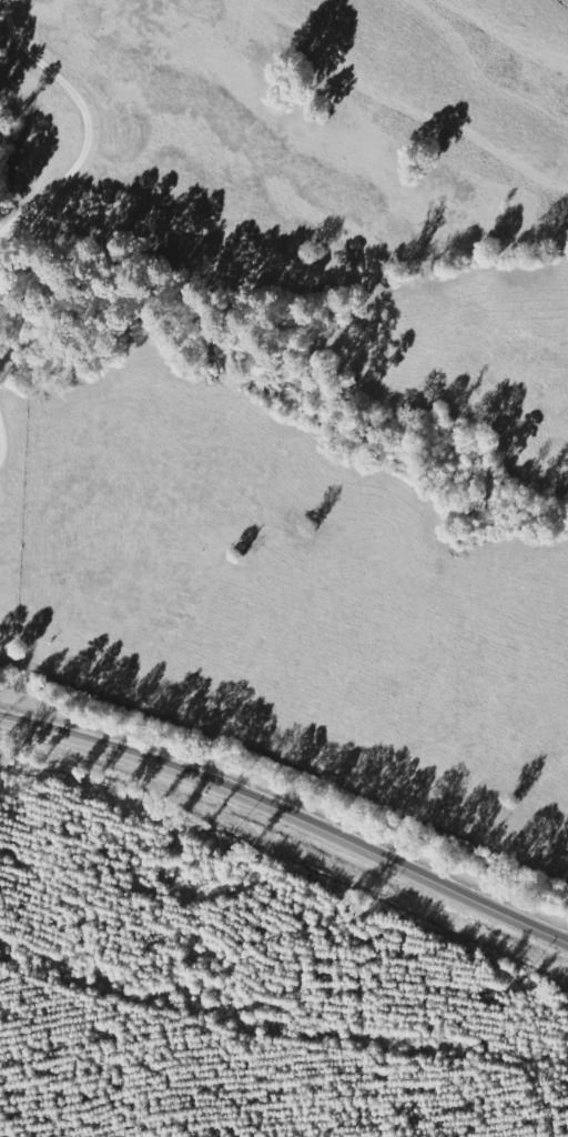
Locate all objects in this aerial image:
road: (290, 815)

